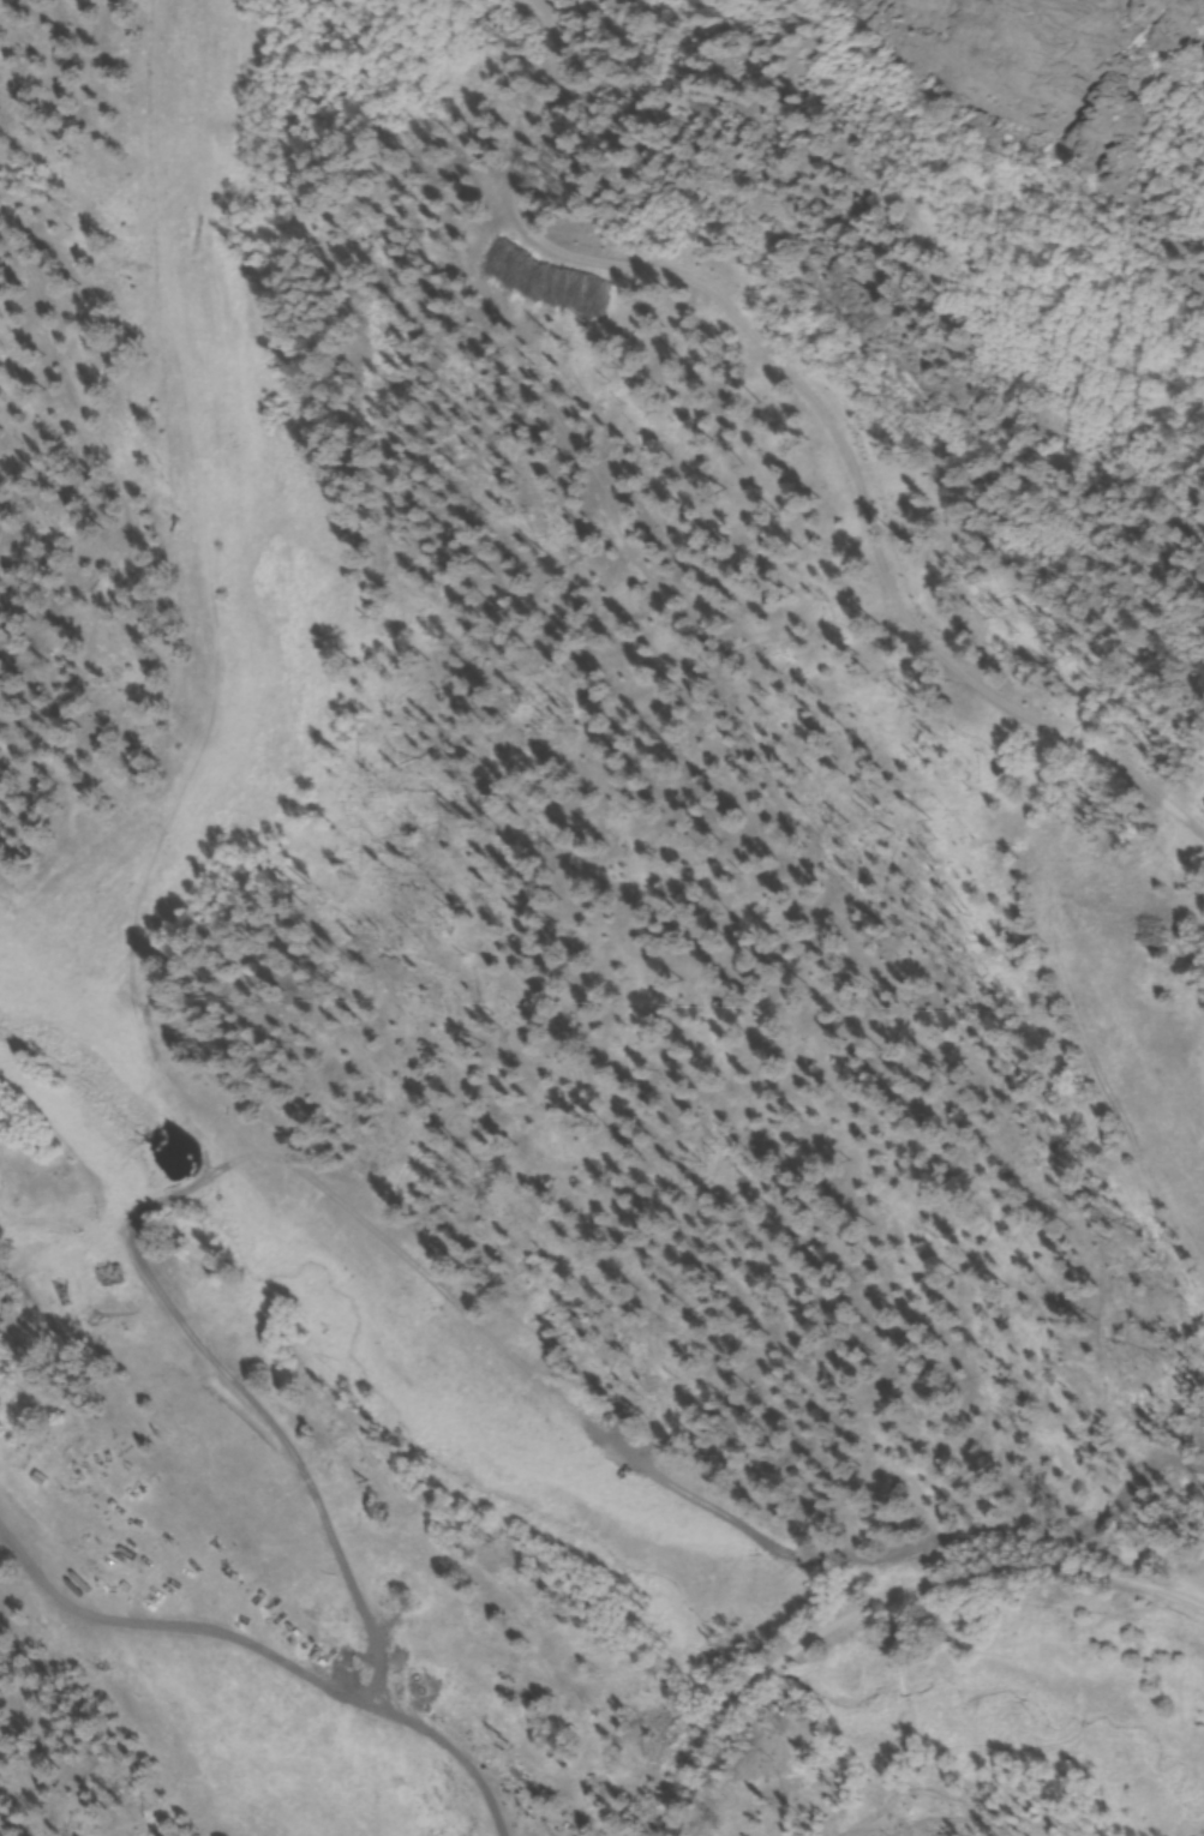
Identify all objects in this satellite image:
building: (115, 1278)
road: (886, 1607)

